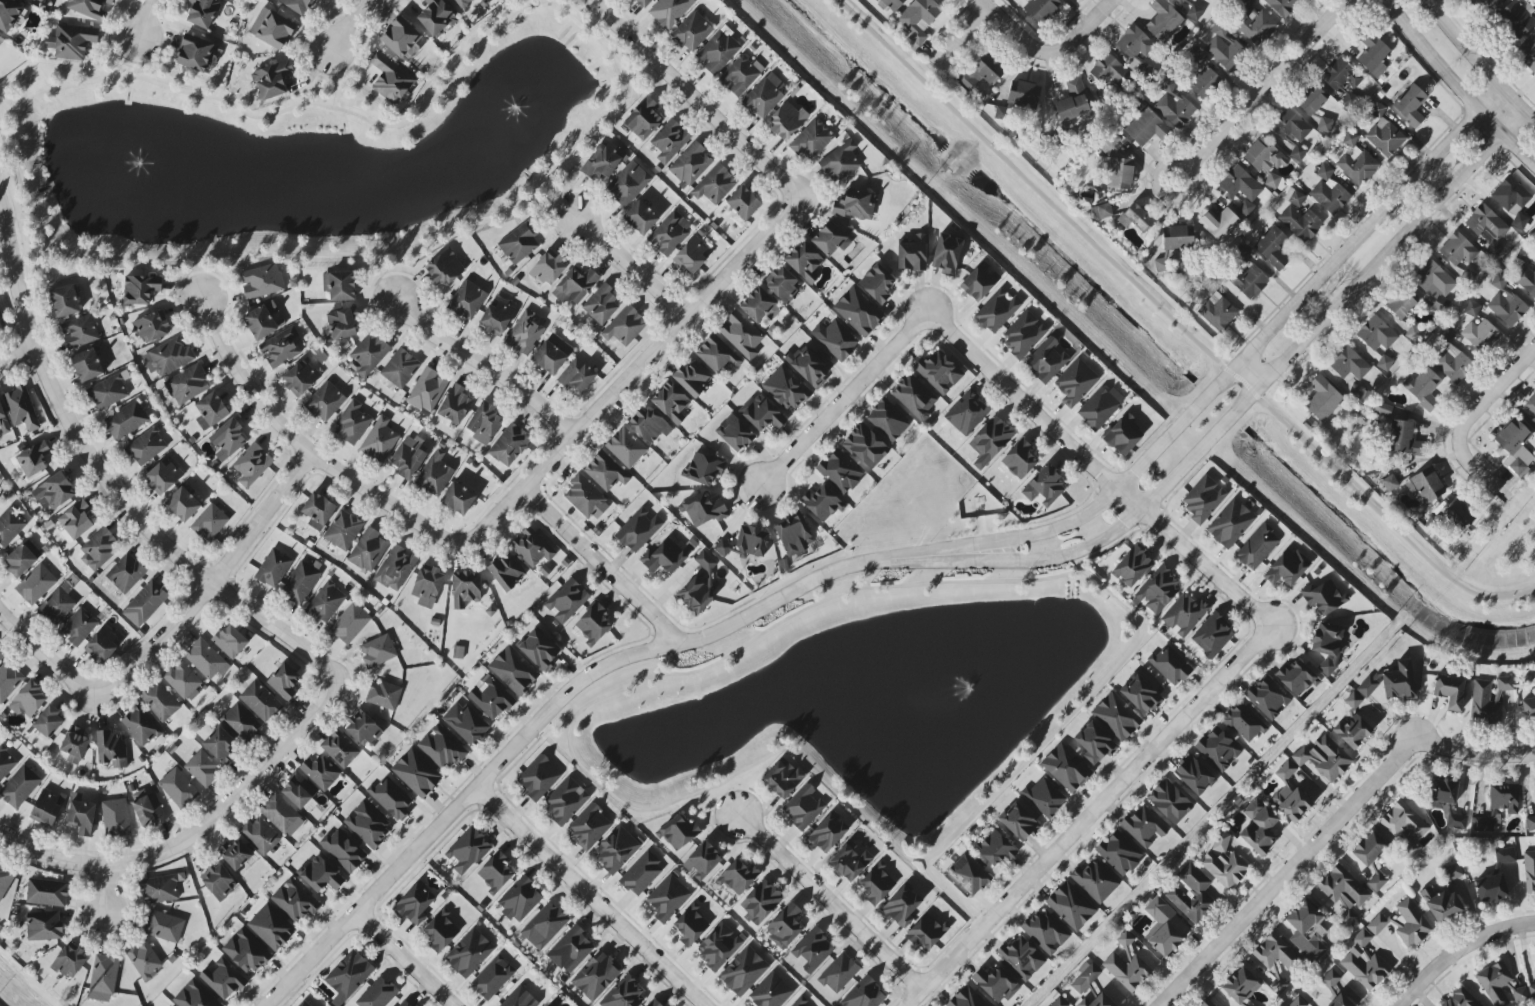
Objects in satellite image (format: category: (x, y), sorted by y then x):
building: (35, 0)
building: (234, 0)
building: (1183, 1)
building: (462, 3)
building: (643, 3)
building: (1480, 3)
building: (893, 4)
building: (298, 5)
building: (1282, 6)
building: (90, 8)
building: (1040, 9)
building: (670, 11)
building: (203, 12)
building: (1194, 12)
building: (9, 15)
building: (436, 17)
building: (1517, 18)
road: (146, 19)
building: (918, 21)
building: (1164, 21)
building: (1255, 23)
road: (353, 25)
road: (1085, 28)
building: (272, 29)
building: (692, 32)
road: (1015, 32)
building: (401, 38)
building: (72, 41)
building: (1225, 48)
building: (1137, 50)
building: (718, 51)
building: (1528, 52)
building: (195, 53)
building: (1373, 54)
building: (1193, 55)
road: (133, 57)
road: (1478, 64)
building: (1109, 71)
building: (981, 72)
road: (649, 75)
building: (741, 75)
building: (1340, 75)
road: (335, 78)
building: (391, 79)
building: (272, 80)
road: (1273, 81)
road: (1457, 86)
building: (1023, 94)
building: (765, 95)
road: (693, 97)
building: (1072, 100)
building: (1314, 102)
building: (1174, 105)
building: (1410, 105)
building: (1001, 113)
building: (643, 118)
building: (788, 121)
road: (600, 126)
building: (1146, 128)
building: (1292, 132)
building: (1385, 137)
building: (811, 140)
building: (669, 141)
building: (1109, 142)
park: (307, 153)
building: (1265, 156)
building: (603, 162)
building: (840, 162)
building: (1356, 162)
building: (691, 164)
building: (1117, 172)
road: (1196, 172)
building: (1324, 172)
building: (628, 183)
building: (1240, 184)
building: (714, 185)
building: (1330, 195)
road: (558, 196)
building: (1511, 196)
building: (1294, 198)
building: (743, 203)
building: (856, 205)
building: (1246, 208)
building: (1101, 211)
building: (640, 218)
building: (1136, 218)
road: (18, 219)
building: (1301, 223)
building: (1220, 224)
building: (1487, 228)
building: (669, 233)
building: (1178, 237)
building: (830, 239)
building: (519, 243)
building: (1273, 248)
building: (1458, 250)
building: (1241, 252)
building: (913, 254)
building: (947, 254)
building: (1523, 255)
building: (691, 257)
building: (804, 262)
building: (1161, 266)
building: (444, 267)
road: (627, 267)
building: (548, 269)
building: (1467, 276)
road: (196, 277)
building: (1525, 279)
road: (383, 280)
building: (1433, 280)
building: (262, 281)
building: (979, 282)
building: (1249, 282)
building: (1499, 282)
building: (877, 284)
building: (339, 285)
building: (783, 285)
building: (575, 286)
building: (140, 289)
building: (467, 300)
building: (64, 301)
building: (1402, 303)
building: (602, 306)
building: (760, 306)
building: (1506, 308)
building: (1472, 309)
building: (997, 310)
building: (859, 312)
building: (1218, 312)
building: (496, 318)
building: (261, 321)
road: (1176, 321)
building: (340, 325)
building: (625, 326)
building: (152, 327)
building: (1, 329)
building: (79, 331)
building: (524, 333)
building: (1023, 334)
building: (1377, 334)
building: (741, 335)
building: (1480, 335)
building: (835, 339)
building: (281, 348)
building: (552, 354)
building: (367, 355)
building: (717, 355)
road: (17, 357)
building: (168, 358)
building: (1047, 360)
building: (1452, 361)
road: (489, 362)
building: (1384, 363)
building: (87, 365)
building: (1349, 365)
building: (810, 366)
building: (400, 368)
building: (939, 372)
road: (1256, 372)
road: (629, 373)
building: (576, 376)
building: (300, 378)
building: (692, 378)
building: (1076, 383)
building: (187, 384)
road: (1226, 384)
building: (786, 389)
building: (1425, 389)
building: (427, 391)
building: (108, 392)
building: (1356, 392)
building: (914, 397)
building: (1323, 399)
road: (843, 400)
building: (325, 401)
building: (671, 402)
road: (1489, 402)
building: (455, 405)
building: (1531, 405)
building: (21, 408)
building: (1100, 408)
building: (1382, 409)
building: (211, 411)
road: (1239, 412)
building: (762, 413)
building: (966, 413)
building: (126, 420)
building: (888, 420)
building: (3, 421)
building: (352, 423)
building: (485, 424)
building: (648, 425)
building: (735, 434)
building: (1123, 435)
building: (228, 439)
building: (380, 440)
building: (1405, 440)
building: (990, 441)
building: (509, 445)
road: (301, 446)
building: (866, 446)
building: (146, 447)
building: (626, 448)
building: (1515, 448)
building: (409, 456)
building: (33, 459)
building: (1019, 459)
building: (252, 465)
building: (704, 469)
road: (1101, 469)
building: (605, 472)
building: (840, 472)
building: (434, 474)
building: (163, 477)
road: (1492, 477)
road: (106, 480)
building: (1390, 483)
building: (1426, 485)
building: (1044, 486)
building: (53, 492)
building: (458, 498)
building: (586, 498)
building: (1203, 499)
building: (822, 503)
building: (183, 504)
building: (703, 510)
building: (318, 511)
building: (1459, 515)
building: (75, 521)
building: (210, 522)
building: (1231, 524)
building: (10, 526)
building: (343, 530)
building: (638, 530)
building: (794, 535)
building: (745, 543)
park: (1507, 546)
building: (532, 547)
building: (1257, 547)
building: (100, 549)
building: (368, 550)
building: (664, 556)
building: (23, 558)
building: (705, 561)
road: (604, 566)
building: (1133, 567)
building: (273, 568)
building: (396, 568)
building: (1286, 568)
building: (507, 571)
building: (126, 573)
road: (213, 582)
building: (300, 583)
building: (35, 585)
building: (427, 587)
building: (465, 588)
building: (1158, 591)
building: (696, 592)
building: (1324, 596)
building: (567, 600)
building: (326, 602)
building: (146, 603)
building: (56, 606)
building: (1185, 615)
building: (350, 623)
building: (593, 623)
building: (78, 627)
building: (1213, 636)
building: (230, 641)
building: (102, 645)
building: (1328, 645)
building: (538, 650)
building: (378, 651)
road: (45, 656)
building: (1, 657)
building: (205, 659)
building: (1170, 665)
building: (514, 671)
park: (880, 672)
building: (1296, 678)
building: (9, 680)
building: (183, 681)
building: (284, 681)
building: (1398, 681)
building: (1505, 683)
building: (1368, 686)
building: (1450, 690)
building: (1141, 694)
building: (383, 695)
building: (490, 698)
building: (1268, 698)
building: (28, 700)
building: (1353, 700)
building: (160, 701)
building: (260, 701)
building: (1484, 704)
building: (1528, 709)
building: (1116, 717)
building: (48, 721)
building: (240, 722)
building: (465, 723)
road: (536, 723)
building: (1244, 723)
building: (141, 726)
building: (363, 729)
building: (1353, 731)
building: (1095, 743)
building: (74, 745)
building: (220, 745)
building: (441, 747)
building: (112, 749)
building: (340, 749)
building: (1218, 749)
road: (1031, 755)
building: (1324, 758)
building: (6, 763)
building: (202, 768)
building: (1066, 768)
building: (1286, 771)
building: (320, 772)
building: (416, 773)
building: (1194, 775)
building: (783, 777)
building: (538, 778)
building: (1534, 784)
building: (20, 787)
building: (178, 788)
building: (1444, 791)
building: (299, 792)
road: (233, 797)
building: (1045, 797)
building: (391, 798)
building: (565, 801)
building: (1170, 802)
building: (1293, 804)
building: (48, 807)
building: (803, 807)
building: (1497, 807)
building: (149, 810)
building: (281, 815)
building: (82, 817)
road: (1091, 817)
building: (115, 818)
building: (1404, 821)
building: (1019, 822)
building: (1530, 823)
building: (368, 825)
building: (1143, 826)
building: (589, 827)
building: (1258, 827)
building: (678, 832)
building: (827, 833)
road: (1333, 834)
building: (260, 836)
building: (1410, 847)
building: (995, 848)
building: (616, 849)
building: (1369, 849)
building: (343, 850)
building: (467, 850)
building: (1119, 853)
building: (235, 854)
building: (1505, 855)
road: (71, 861)
building: (703, 861)
building: (850, 861)
building: (1224, 863)
building: (1529, 871)
building: (1453, 872)
building: (496, 873)
building: (641, 874)
building: (968, 874)
building: (321, 875)
building: (738, 877)
building: (5, 879)
building: (1095, 881)
building: (219, 882)
building: (1377, 882)
building: (877, 884)
building: (161, 888)
building: (1491, 888)
building: (1191, 892)
building: (47, 893)
building: (1344, 893)
road: (952, 894)
road: (590, 897)
building: (668, 897)
building: (295, 900)
building: (520, 900)
building: (761, 902)
road: (832, 903)
building: (415, 904)
building: (902, 905)
building: (1441, 905)
building: (1071, 906)
building: (1410, 923)
building: (1377, 924)
building: (44, 926)
building: (163, 926)
building: (544, 926)
building: (691, 926)
building: (784, 926)
building: (271, 927)
building: (1162, 927)
building: (1306, 930)
building: (441, 931)
building: (926, 932)
building: (1046, 932)
road: (1457, 945)
building: (719, 946)
building: (573, 948)
building: (812, 951)
building: (246, 952)
building: (469, 953)
building: (1276, 953)
building: (1021, 958)
building: (144, 960)
building: (70, 961)
road: (403, 961)
building: (1364, 963)
building: (1126, 964)
building: (743, 971)
building: (839, 973)
building: (104, 975)
building: (596, 975)
building: (348, 976)
building: (493, 977)
building: (1086, 979)
building: (1330, 979)
building: (223, 980)
building: (1495, 983)
building: (996, 984)
building: (1279, 985)
building: (1240, 986)
building: (771, 992)
building: (377, 994)
building: (624, 994)
building: (865, 994)
building: (1519, 995)
building: (195, 996)
building: (520, 998)
building: (967, 998)
building: (1460, 999)
building: (1098, 1001)
building: (1340, 1001)
building: (1059, 1002)
building: (1298, 1002)
building: (405, 1003)
building: (654, 1003)
building: (799, 1003)
building: (1207, 1003)
building: (304, 1004)

